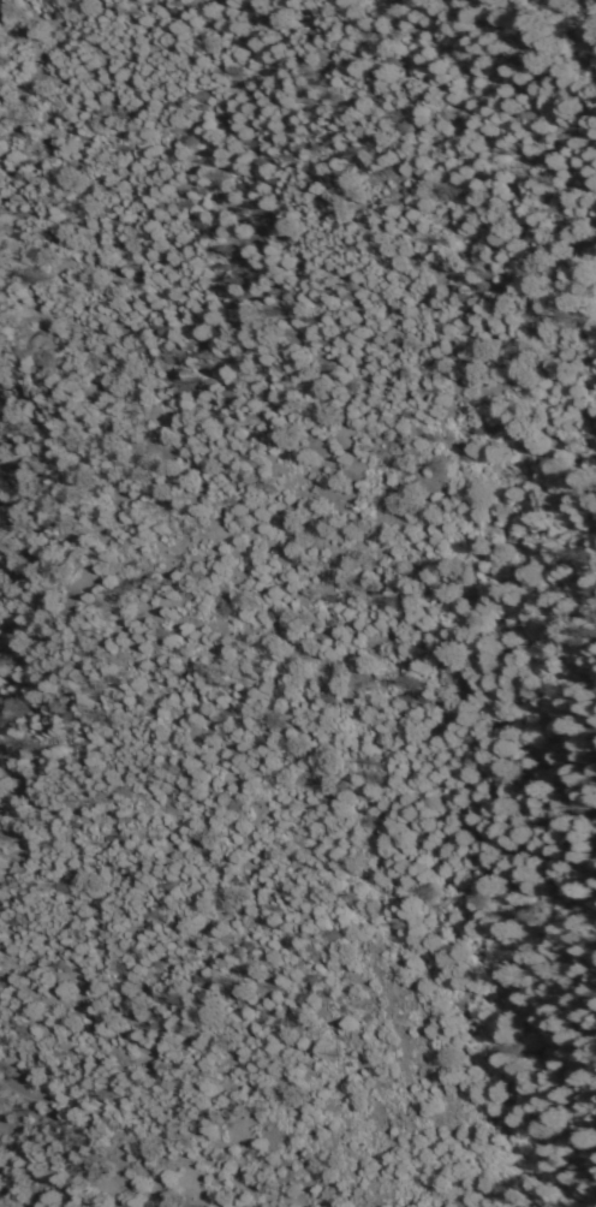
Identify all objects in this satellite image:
road: (64, 1129)

